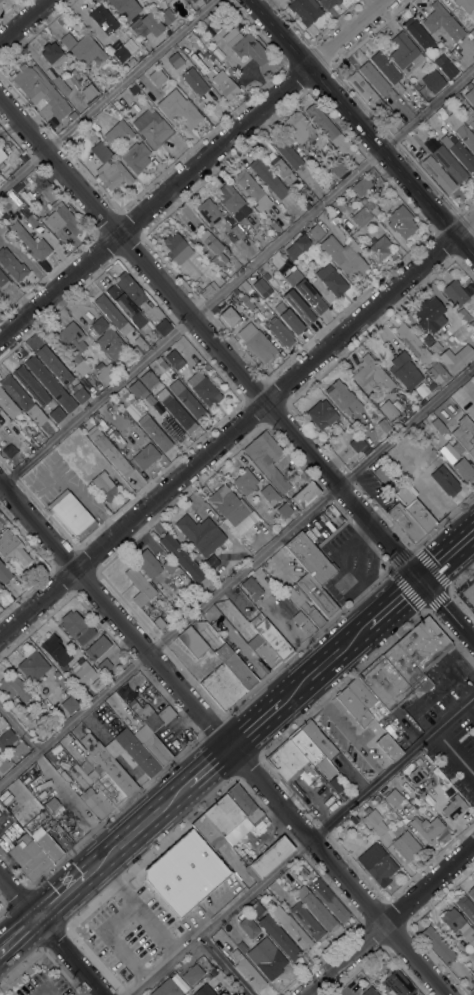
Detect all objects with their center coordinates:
building: (203, 0)
building: (193, 1)
building: (328, 3)
building: (465, 4)
building: (125, 8)
building: (304, 10)
building: (166, 16)
building: (103, 19)
road: (24, 20)
building: (217, 22)
building: (442, 22)
building: (134, 24)
building: (151, 24)
building: (140, 30)
building: (472, 33)
building: (418, 34)
building: (245, 46)
building: (83, 48)
building: (404, 53)
building: (52, 54)
building: (120, 54)
building: (206, 55)
building: (454, 55)
building: (175, 60)
building: (446, 68)
building: (386, 70)
building: (156, 77)
building: (432, 80)
building: (377, 81)
building: (194, 82)
building: (225, 85)
building: (61, 86)
building: (130, 88)
building: (364, 90)
building: (89, 91)
building: (40, 93)
road: (107, 95)
building: (470, 96)
building: (179, 109)
building: (468, 116)
building: (327, 127)
building: (152, 128)
building: (299, 128)
road: (361, 128)
building: (117, 132)
building: (461, 132)
building: (458, 153)
building: (2, 155)
building: (134, 157)
building: (295, 162)
building: (352, 164)
building: (449, 164)
building: (335, 165)
building: (109, 167)
road: (190, 169)
building: (372, 173)
building: (437, 174)
building: (268, 177)
building: (287, 177)
building: (361, 186)
building: (252, 189)
building: (347, 200)
building: (233, 202)
building: (307, 206)
building: (371, 207)
building: (208, 211)
building: (327, 214)
building: (61, 218)
building: (359, 220)
building: (31, 221)
building: (401, 222)
building: (274, 226)
building: (236, 231)
building: (315, 233)
building: (9, 237)
building: (31, 242)
building: (297, 247)
building: (177, 248)
building: (213, 248)
building: (379, 248)
building: (345, 257)
building: (12, 264)
road: (236, 276)
building: (266, 276)
building: (331, 280)
building: (3, 281)
building: (260, 286)
building: (130, 289)
building: (207, 290)
building: (236, 291)
building: (306, 292)
building: (455, 293)
building: (0, 294)
building: (244, 299)
building: (126, 306)
building: (298, 306)
building: (461, 312)
building: (112, 314)
building: (430, 315)
building: (229, 316)
building: (291, 322)
building: (163, 327)
building: (281, 333)
building: (107, 339)
building: (426, 340)
building: (140, 342)
building: (257, 343)
building: (413, 345)
building: (73, 346)
building: (435, 348)
building: (174, 360)
building: (54, 365)
road: (234, 370)
building: (403, 370)
building: (438, 371)
building: (105, 372)
building: (372, 377)
building: (148, 379)
building: (50, 384)
building: (30, 385)
building: (431, 386)
building: (137, 389)
building: (204, 389)
building: (421, 390)
building: (79, 393)
building: (343, 398)
building: (149, 399)
building: (23, 400)
building: (187, 400)
building: (7, 405)
building: (175, 410)
building: (387, 410)
building: (56, 414)
building: (321, 414)
building: (2, 421)
building: (395, 423)
road: (237, 426)
building: (383, 426)
building: (419, 426)
building: (438, 426)
building: (172, 429)
building: (154, 432)
building: (465, 436)
building: (119, 441)
building: (356, 444)
building: (108, 451)
building: (450, 451)
building: (145, 456)
building: (266, 459)
building: (463, 470)
building: (382, 473)
building: (444, 481)
building: (245, 482)
building: (104, 486)
building: (269, 493)
building: (303, 495)
building: (232, 510)
building: (284, 510)
building: (414, 511)
building: (71, 515)
building: (405, 523)
building: (200, 534)
road: (472, 539)
building: (183, 543)
building: (12, 548)
building: (181, 557)
road: (448, 557)
building: (310, 558)
building: (146, 562)
building: (209, 563)
building: (169, 566)
road: (461, 572)
building: (4, 573)
road: (237, 574)
building: (219, 578)
building: (0, 585)
building: (139, 586)
building: (251, 587)
building: (316, 596)
building: (303, 604)
road: (394, 604)
building: (159, 623)
building: (76, 627)
building: (307, 627)
building: (269, 636)
building: (192, 642)
building: (97, 648)
building: (55, 651)
building: (263, 652)
building: (32, 665)
road: (324, 665)
building: (104, 666)
building: (405, 666)
building: (235, 667)
building: (83, 676)
building: (222, 687)
building: (13, 689)
building: (366, 700)
building: (69, 704)
road: (470, 705)
building: (354, 708)
building: (151, 715)
building: (29, 717)
road: (254, 725)
road: (19, 727)
road: (336, 728)
building: (6, 739)
building: (318, 741)
road: (221, 742)
building: (151, 746)
building: (388, 747)
building: (136, 752)
road: (454, 753)
building: (315, 759)
building: (289, 763)
building: (3, 765)
building: (108, 765)
road: (206, 767)
building: (416, 775)
building: (104, 784)
building: (297, 791)
building: (394, 798)
building: (325, 799)
road: (72, 802)
building: (95, 803)
building: (54, 806)
building: (454, 807)
building: (353, 819)
building: (374, 821)
building: (344, 823)
building: (427, 826)
road: (137, 828)
building: (364, 830)
building: (207, 832)
building: (228, 834)
building: (46, 845)
building: (405, 845)
road: (304, 846)
building: (29, 857)
building: (377, 864)
building: (301, 871)
building: (152, 879)
building: (471, 893)
road: (62, 895)
building: (276, 896)
building: (328, 900)
building: (314, 907)
building: (466, 908)
road: (4, 909)
building: (255, 910)
road: (136, 911)
building: (277, 913)
road: (388, 919)
building: (451, 920)
road: (15, 922)
building: (307, 922)
building: (249, 927)
building: (296, 933)
road: (50, 935)
building: (469, 936)
building: (279, 937)
road: (21, 942)
road: (111, 944)
building: (437, 945)
building: (242, 947)
building: (267, 958)
road: (0, 963)
road: (227, 965)
road: (22, 966)
building: (248, 971)
building: (192, 974)
building: (472, 978)
building: (178, 981)
building: (397, 983)
building: (166, 988)
building: (204, 991)
building: (369, 991)
road: (472, 993)
building: (231, 994)

